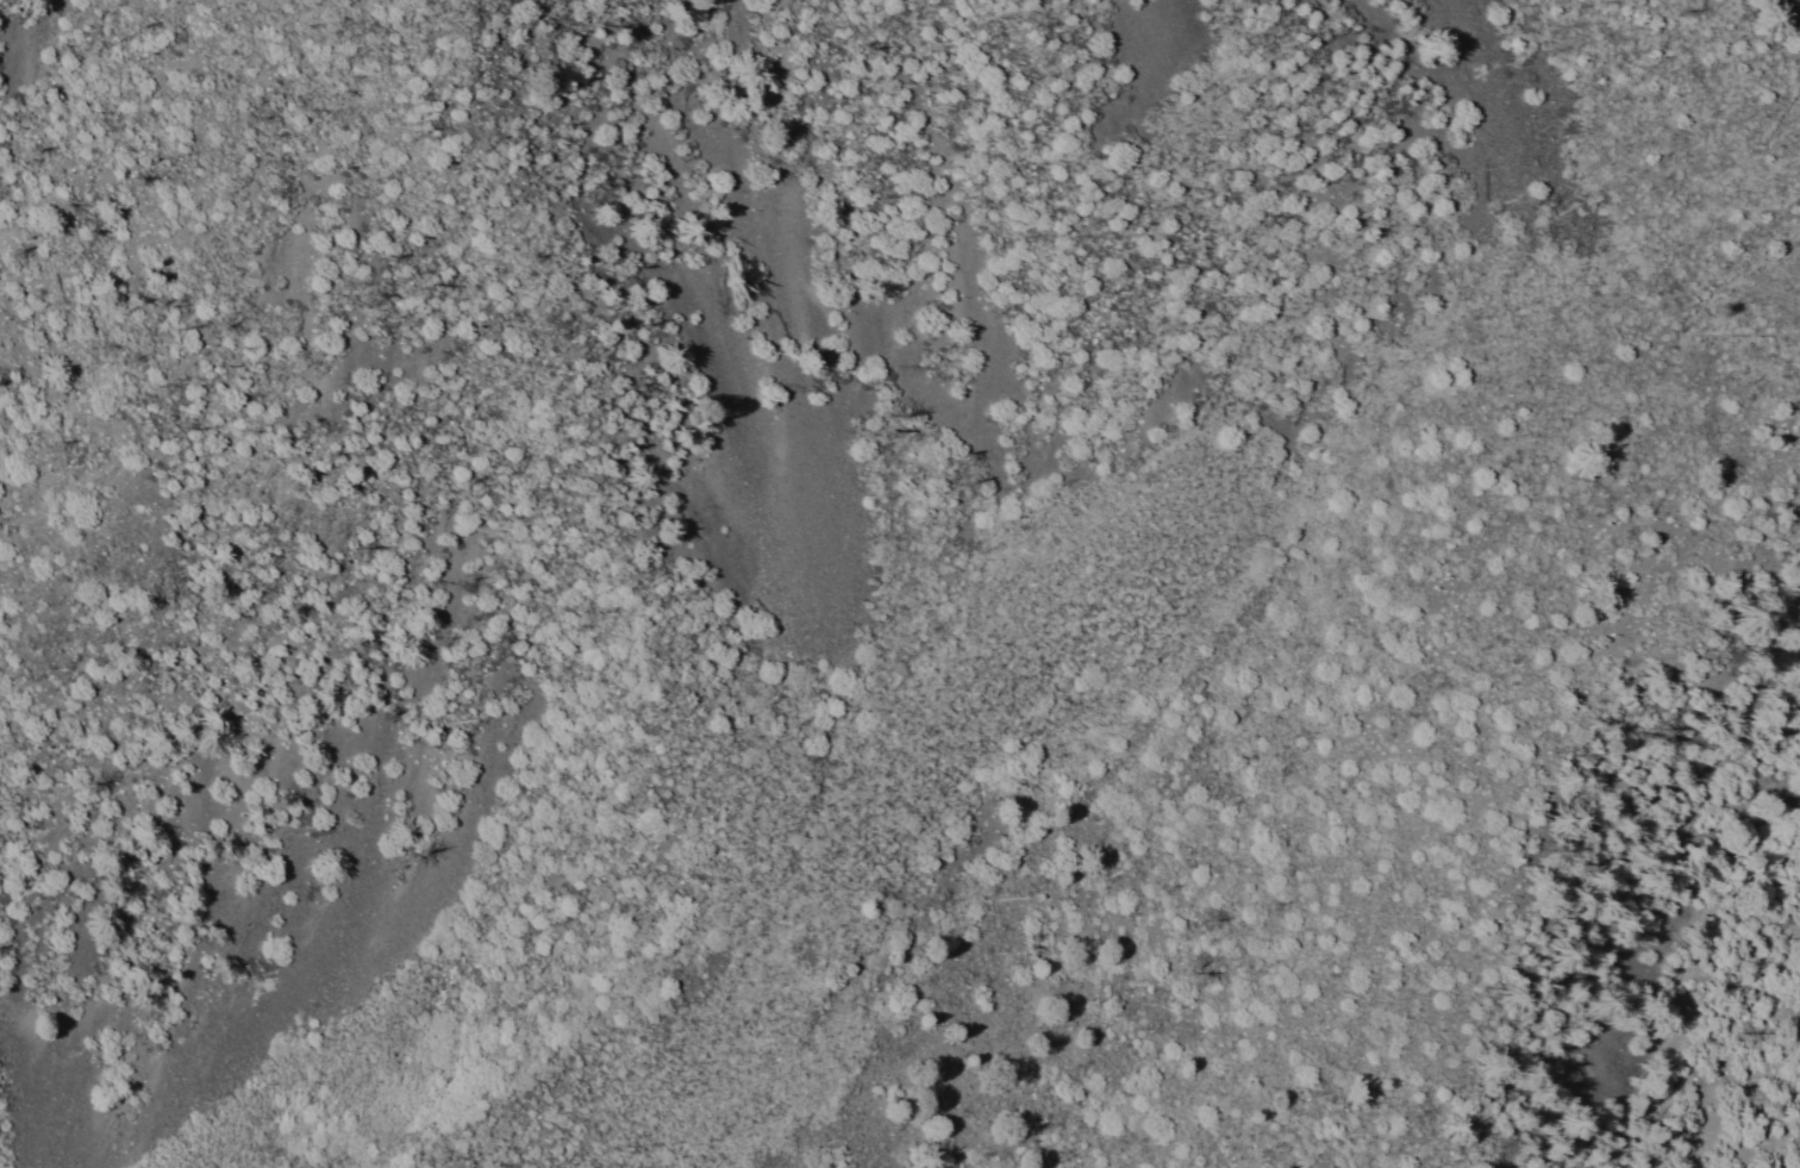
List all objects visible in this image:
road: (1768, 137)
road: (1694, 316)
road: (1768, 706)
road: (1779, 1031)

